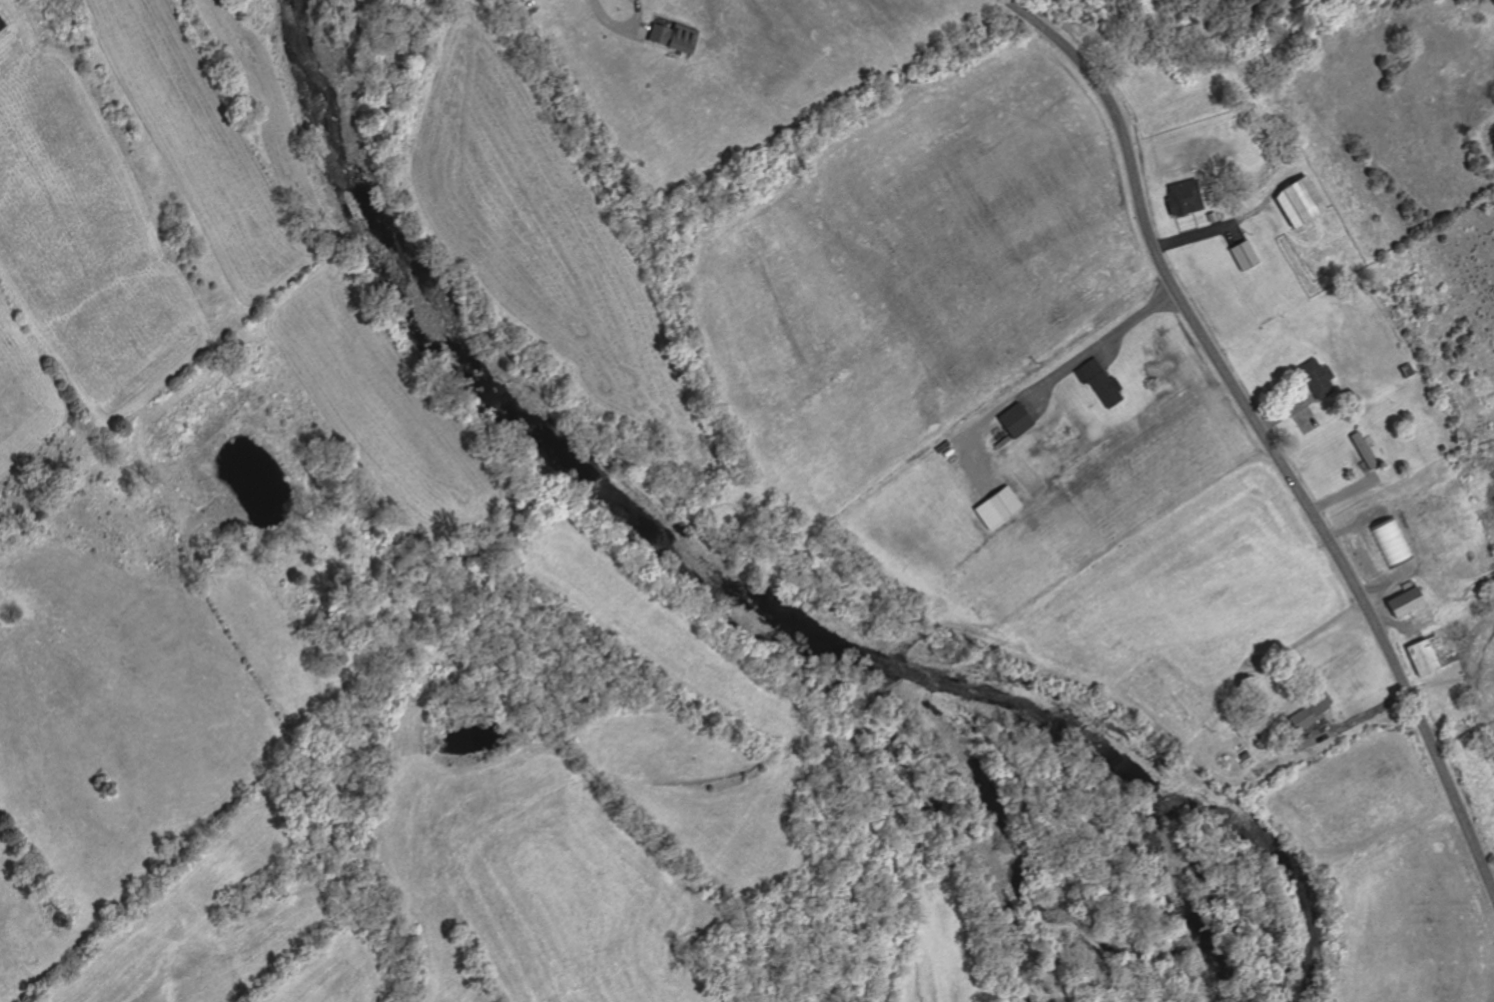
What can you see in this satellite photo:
road: (663, 16)
building: (1, 26)
road: (643, 28)
road: (621, 30)
building: (676, 37)
building: (1186, 199)
building: (1304, 203)
building: (1214, 217)
road: (1196, 223)
road: (1178, 227)
road: (1216, 229)
road: (1235, 234)
building: (1245, 254)
road: (1096, 345)
road: (1110, 347)
building: (1409, 369)
building: (1318, 377)
building: (1101, 381)
road: (1031, 390)
road: (1305, 391)
road: (1288, 411)
road: (1306, 415)
building: (1017, 420)
road: (969, 434)
road: (1263, 434)
building: (1443, 447)
building: (1365, 450)
road: (1343, 494)
building: (999, 506)
building: (1389, 540)
building: (1402, 601)
road: (1115, 631)
building: (1426, 655)
road: (891, 671)
building: (1309, 710)
road: (1352, 722)
building: (1242, 755)
road: (743, 817)

